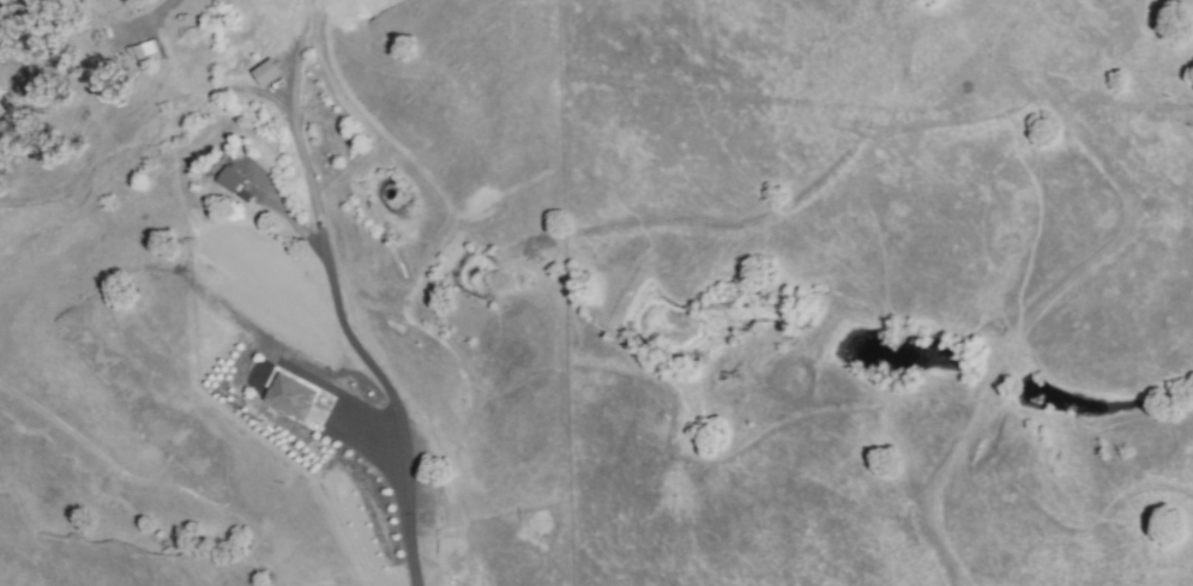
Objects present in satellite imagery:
building: (233, 180)
road: (333, 300)
building: (287, 395)

